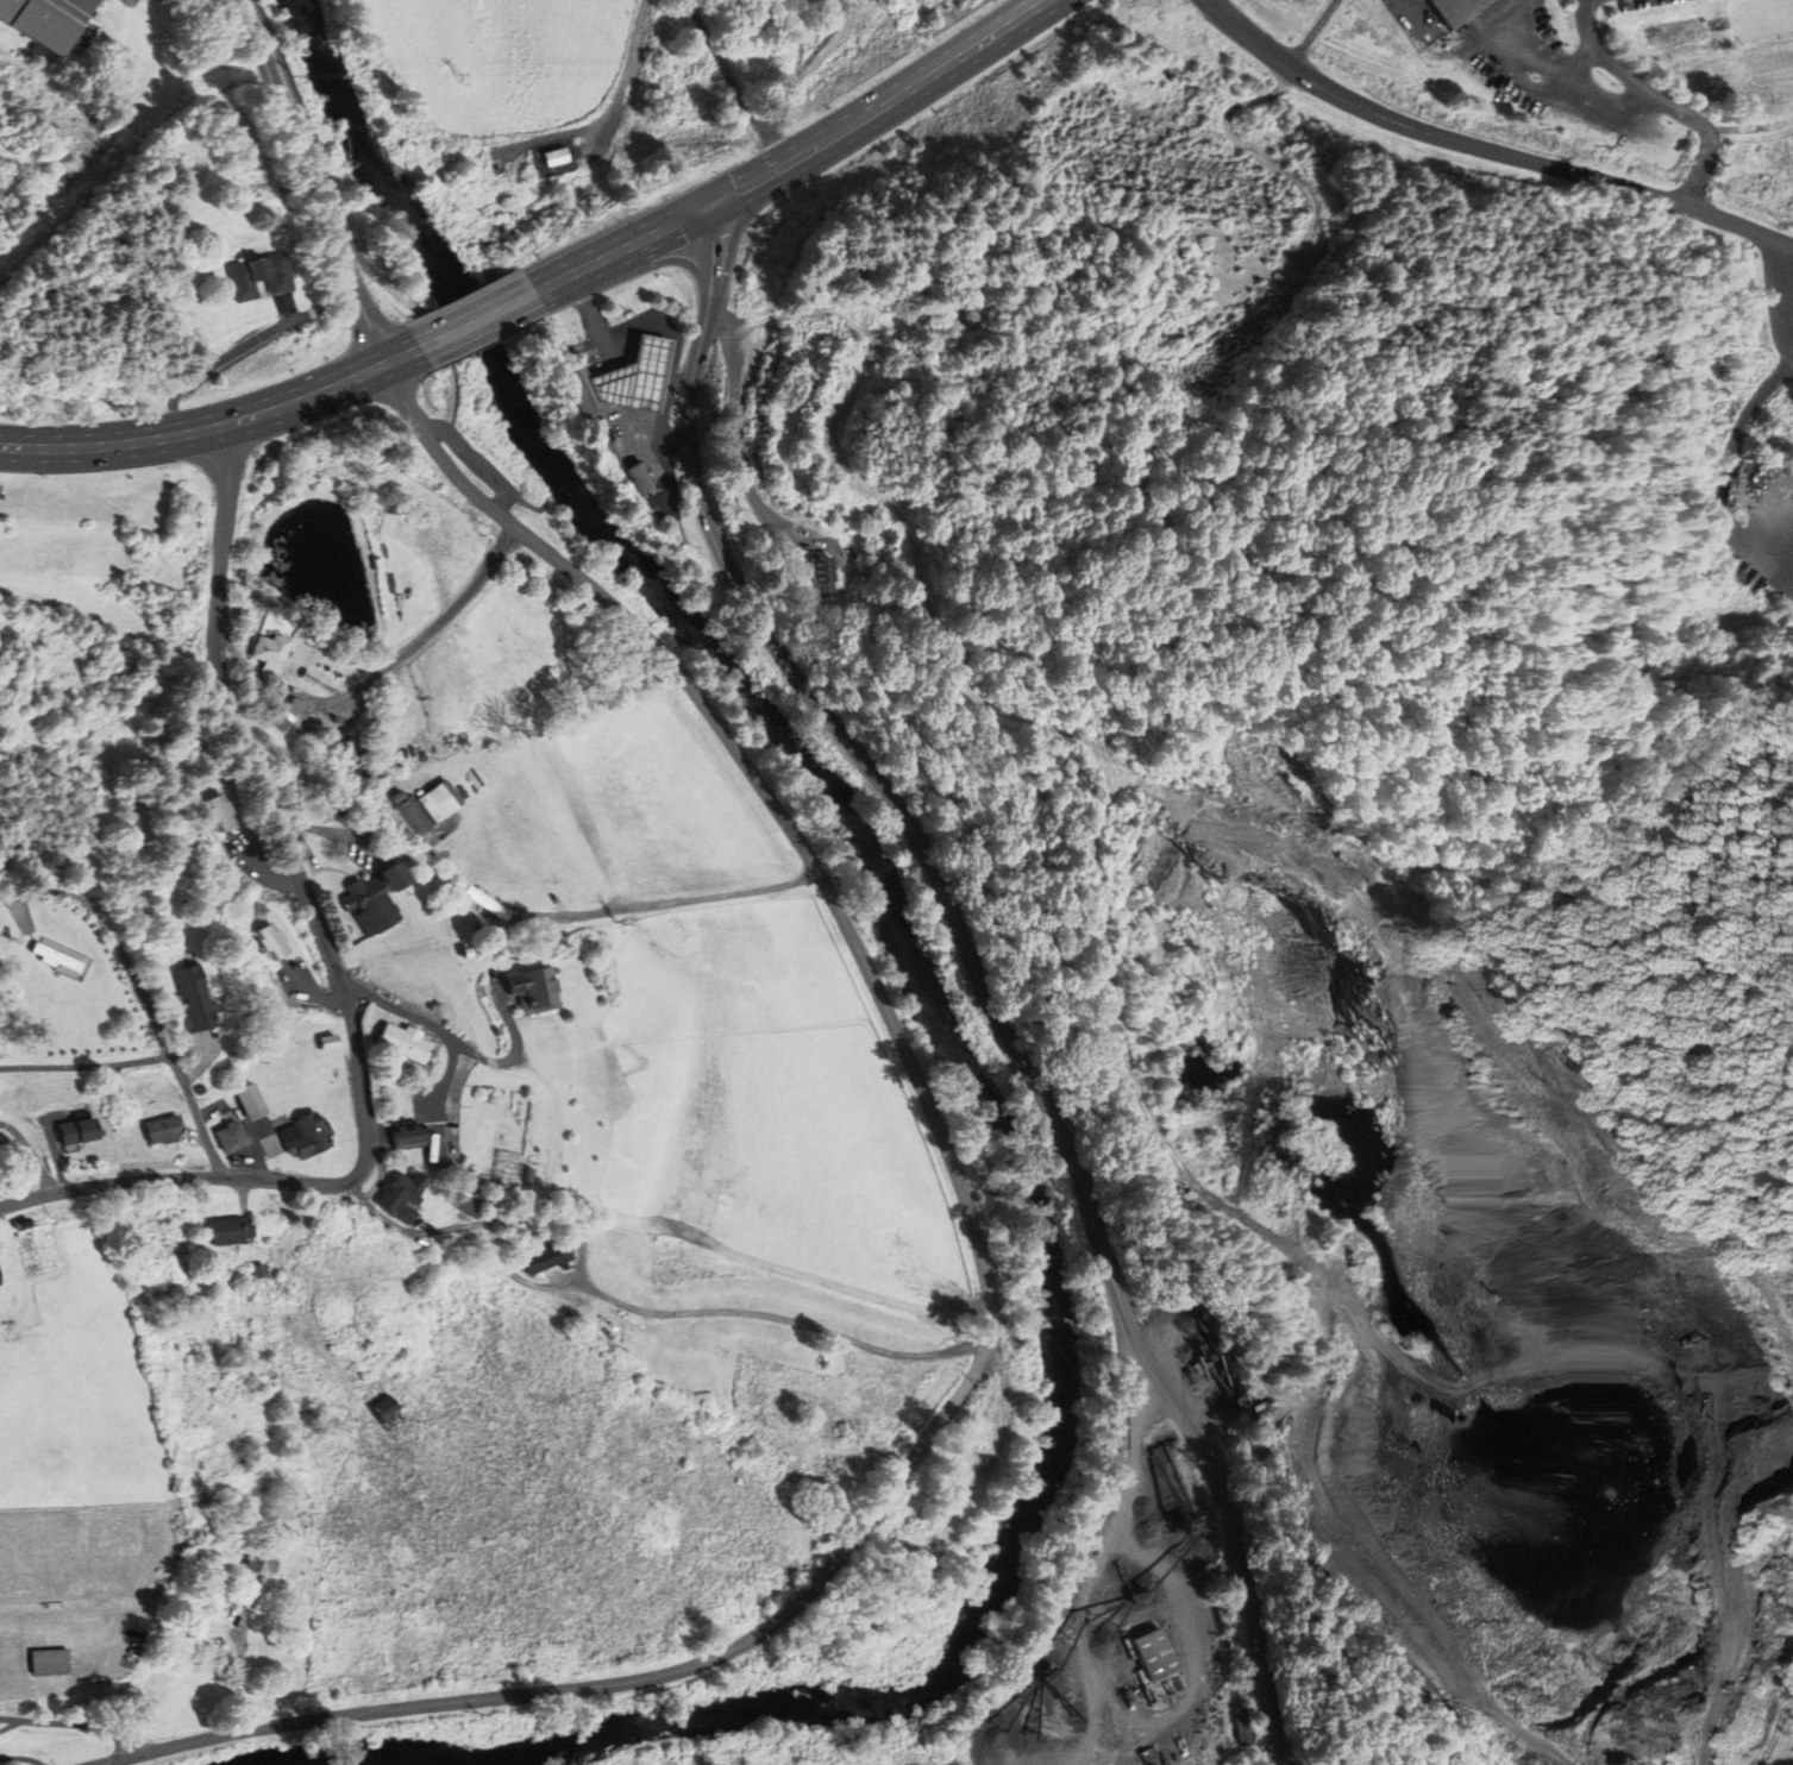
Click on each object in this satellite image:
building: (1453, 10)
road: (1405, 15)
building: (48, 19)
road: (1315, 33)
road: (1447, 55)
road: (626, 71)
road: (1497, 78)
road: (733, 84)
road: (1661, 99)
road: (885, 103)
road: (1592, 111)
road: (1246, 140)
road: (1488, 150)
building: (556, 157)
road: (324, 167)
road: (311, 178)
river: (387, 199)
traffic signals: (717, 202)
road: (626, 245)
building: (259, 276)
road: (1783, 283)
road: (475, 316)
road: (673, 345)
road: (615, 379)
building: (626, 382)
road: (449, 396)
road: (214, 426)
road: (741, 438)
parking lot: (476, 460)
road: (476, 461)
building: (644, 477)
building: (826, 578)
building: (272, 653)
road: (380, 673)
building: (311, 677)
building: (295, 706)
building: (282, 717)
building: (438, 802)
road: (1189, 806)
building: (332, 812)
building: (220, 814)
building: (415, 816)
building: (377, 899)
road: (681, 900)
building: (488, 903)
road: (107, 931)
building: (271, 942)
building: (56, 956)
road: (983, 971)
road: (338, 972)
building: (535, 990)
building: (194, 1001)
road: (446, 1034)
building: (328, 1042)
building: (414, 1047)
road: (507, 1061)
road: (84, 1066)
road: (1129, 1073)
road: (1266, 1086)
building: (200, 1088)
building: (252, 1101)
road: (193, 1108)
building: (163, 1128)
building: (79, 1131)
building: (309, 1136)
building: (408, 1136)
building: (232, 1137)
road: (1259, 1154)
river: (982, 1158)
building: (529, 1174)
building: (402, 1195)
building: (472, 1200)
road: (481, 1224)
building: (230, 1230)
building: (546, 1257)
building: (259, 1270)
road: (989, 1279)
quarry: (1462, 1283)
building: (0, 1287)
road: (1337, 1311)
road: (750, 1313)
building: (385, 1407)
building: (1116, 1440)
building: (262, 1560)
power tower: (1792, 1566)
road: (1728, 1619)
building: (1159, 1653)
building: (50, 1660)
road: (1781, 1714)
road: (71, 1723)
building: (1245, 1725)
building: (1447, 1742)
river: (493, 1757)
road: (1281, 1763)

